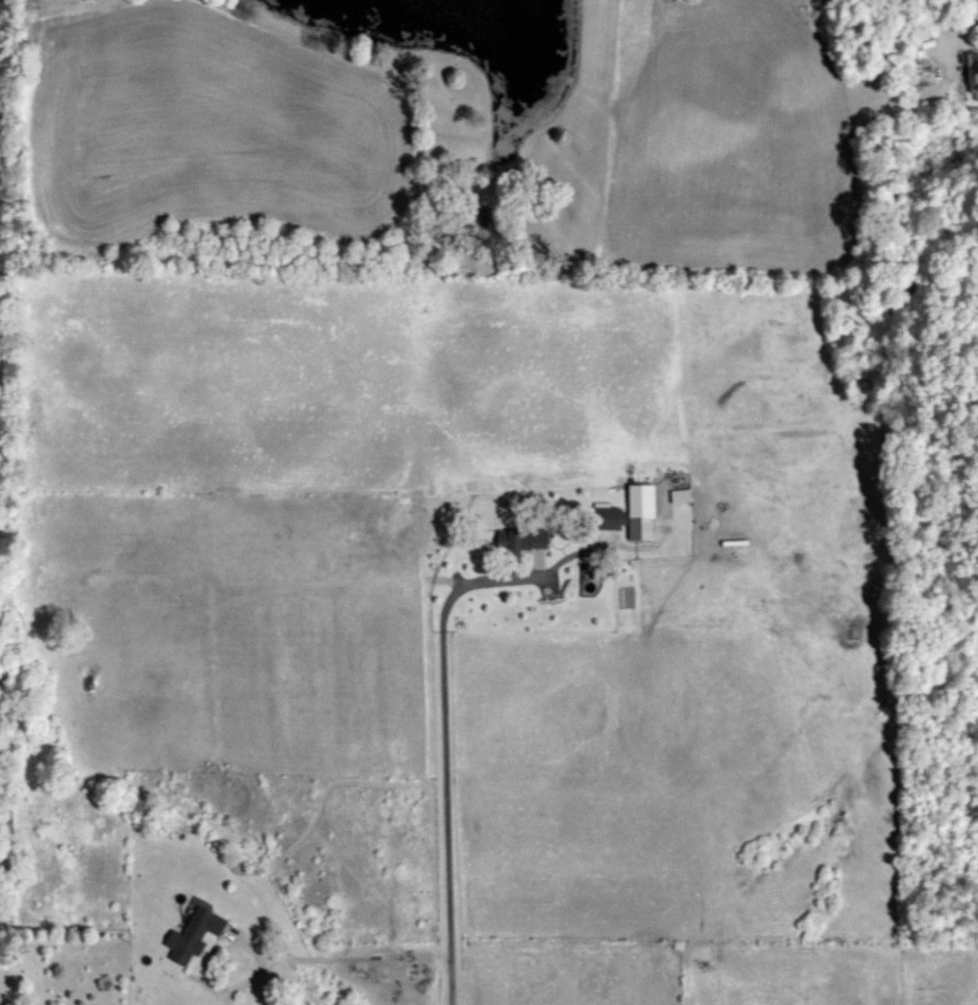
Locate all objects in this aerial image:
road: (935, 25)
building: (973, 76)
building: (681, 495)
building: (623, 522)
building: (525, 540)
road: (449, 748)
building: (193, 935)
road: (240, 950)
road: (229, 1004)

